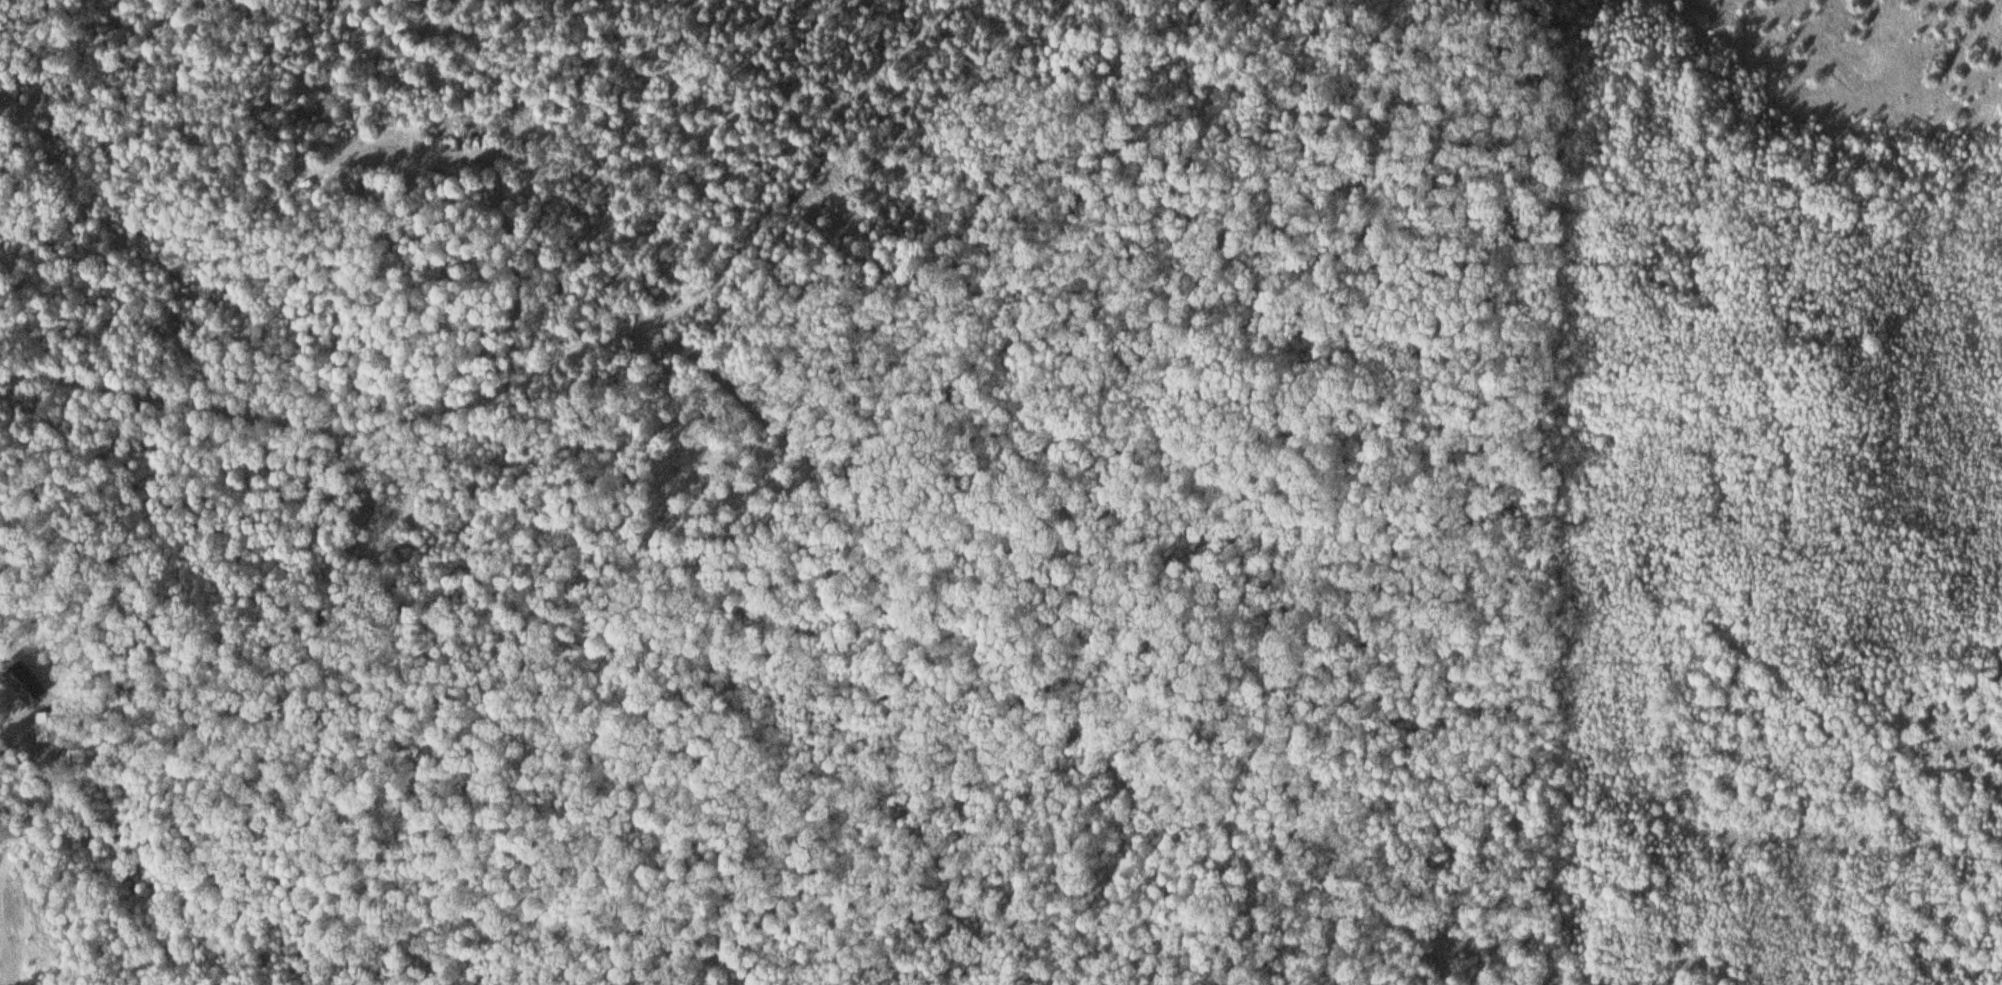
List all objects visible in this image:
road: (543, 366)

